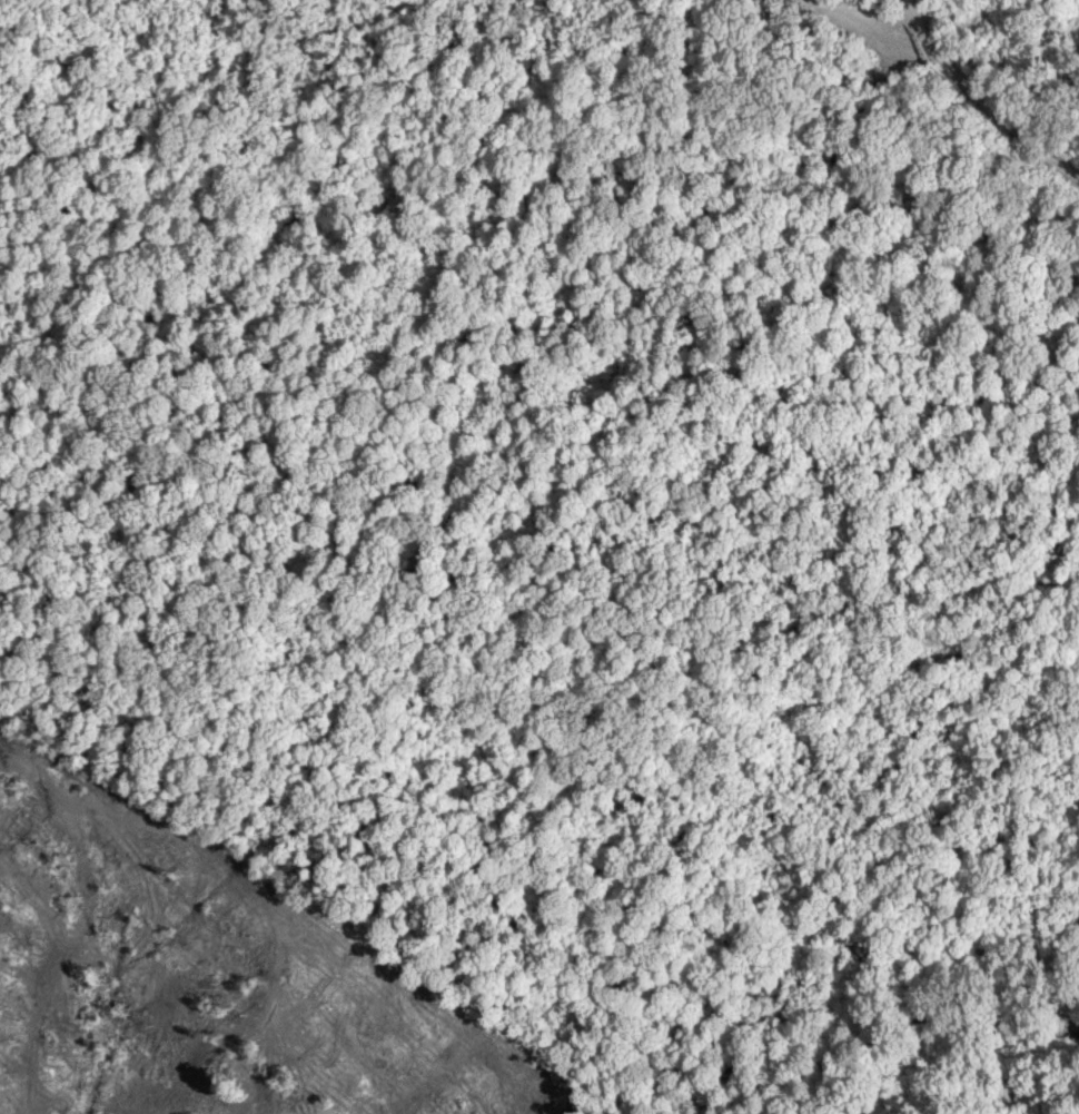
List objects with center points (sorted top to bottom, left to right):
road: (881, 20)
road: (980, 95)

